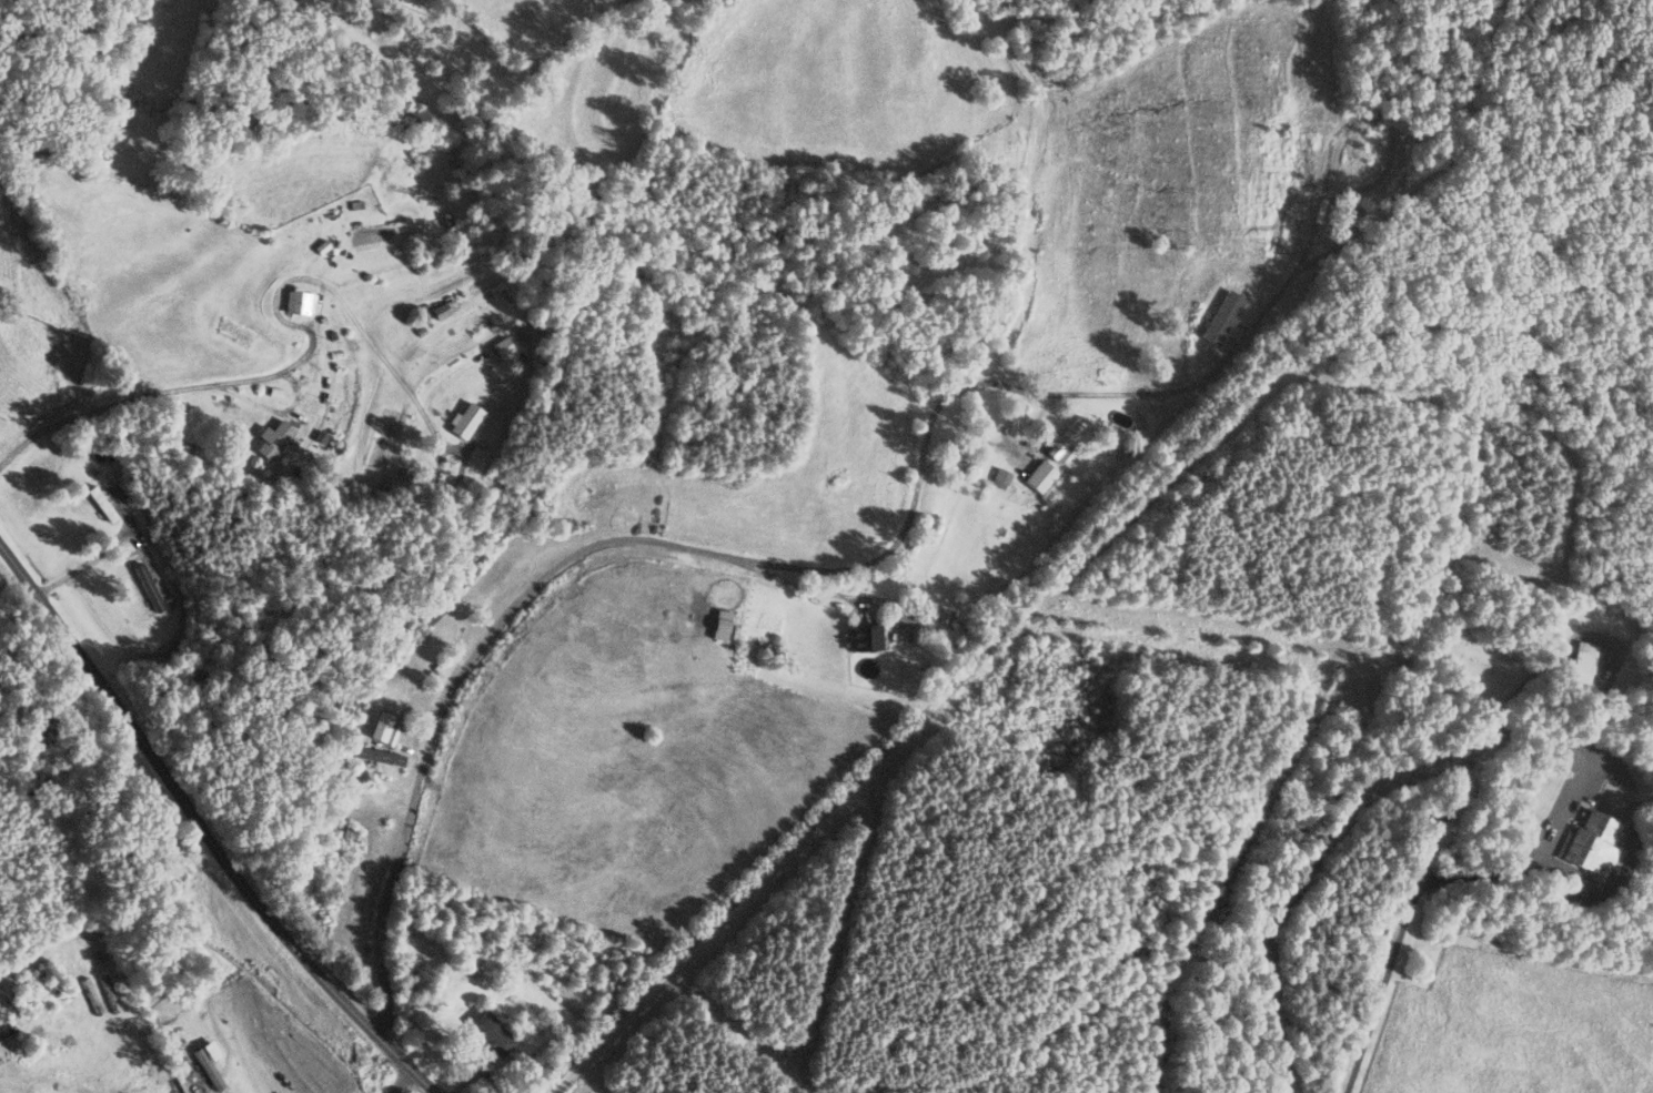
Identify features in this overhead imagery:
building: (1374, 153)
building: (441, 223)
building: (300, 301)
building: (441, 311)
road: (312, 340)
building: (503, 345)
road: (1009, 417)
building: (465, 418)
building: (274, 437)
road: (972, 445)
building: (1040, 475)
building: (1000, 477)
building: (101, 502)
road: (593, 545)
building: (148, 586)
building: (864, 636)
building: (1583, 660)
road: (1570, 745)
road: (844, 791)
road: (204, 829)
building: (346, 831)
building: (1594, 841)
building: (54, 980)
road: (1383, 988)
building: (492, 1032)
road: (48, 1054)
road: (402, 1077)

